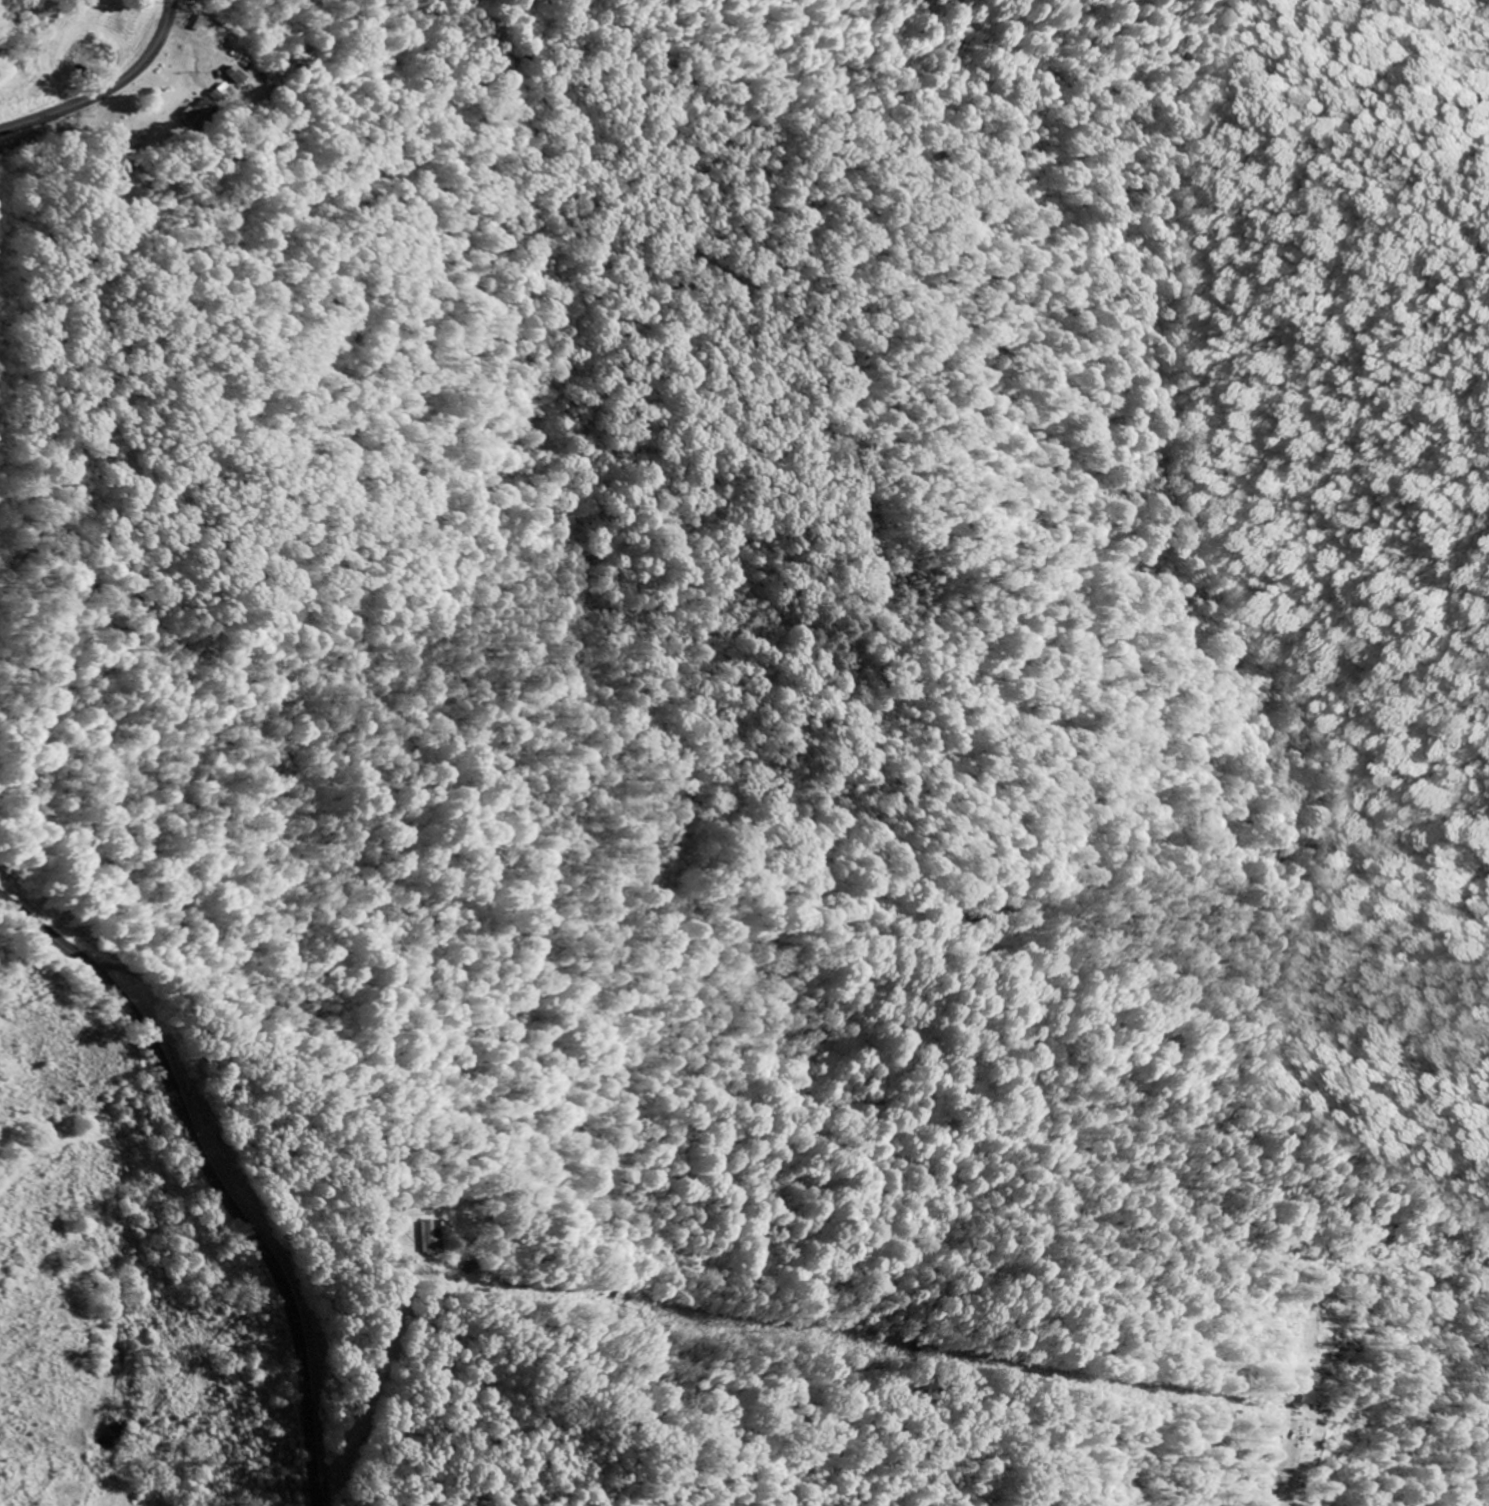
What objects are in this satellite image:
road: (459, 74)
building: (232, 78)
road: (109, 91)
building: (216, 94)
building: (193, 115)
road: (972, 233)
road: (90, 960)
road: (235, 1068)
road: (211, 1175)
building: (429, 1238)
road: (1290, 1462)

